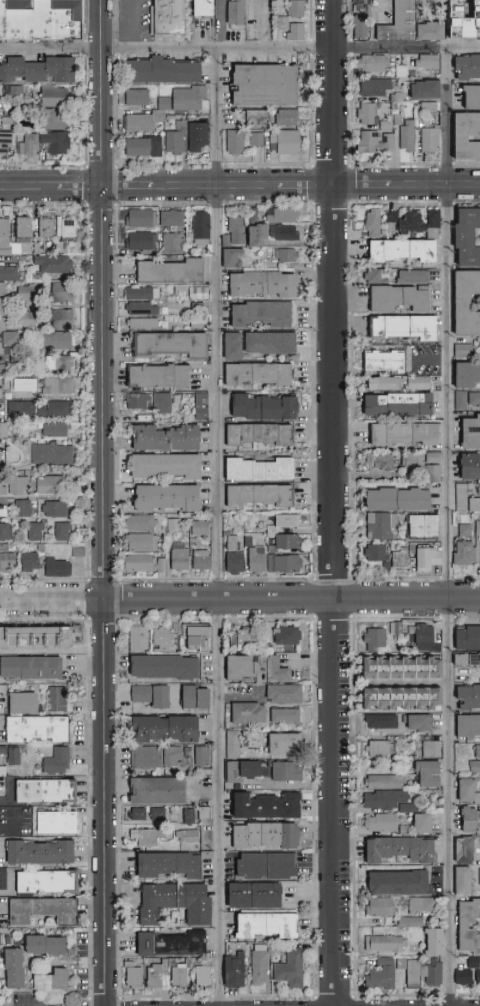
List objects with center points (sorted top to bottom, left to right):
building: (293, 8)
building: (362, 8)
building: (205, 9)
building: (238, 15)
building: (173, 18)
building: (44, 20)
building: (435, 21)
building: (400, 23)
building: (287, 28)
building: (362, 28)
building: (478, 29)
road: (133, 30)
road: (239, 50)
building: (423, 60)
building: (367, 62)
building: (464, 66)
building: (37, 68)
building: (157, 70)
building: (258, 85)
building: (372, 85)
building: (421, 88)
building: (10, 91)
building: (50, 95)
building: (133, 96)
building: (185, 96)
building: (468, 97)
building: (160, 107)
building: (427, 110)
building: (364, 112)
building: (251, 117)
building: (283, 117)
building: (49, 118)
building: (136, 121)
building: (405, 134)
building: (195, 135)
building: (466, 136)
building: (254, 138)
building: (427, 138)
building: (3, 139)
building: (175, 140)
building: (155, 141)
building: (231, 141)
building: (282, 141)
building: (372, 141)
building: (135, 146)
building: (56, 147)
road: (239, 186)
building: (278, 214)
building: (139, 217)
building: (169, 217)
building: (431, 217)
building: (404, 220)
building: (370, 222)
building: (44, 226)
building: (63, 226)
building: (199, 227)
building: (18, 229)
building: (3, 231)
building: (231, 231)
building: (279, 232)
building: (462, 237)
building: (138, 240)
building: (261, 241)
building: (169, 242)
building: (399, 249)
building: (282, 254)
building: (228, 257)
building: (51, 263)
building: (167, 270)
building: (7, 272)
building: (410, 275)
building: (371, 276)
building: (257, 283)
building: (58, 290)
building: (139, 292)
building: (393, 298)
road: (104, 300)
building: (461, 303)
building: (138, 308)
building: (25, 317)
building: (60, 318)
building: (140, 323)
building: (390, 326)
building: (417, 327)
building: (55, 341)
building: (9, 342)
building: (254, 343)
building: (166, 344)
building: (460, 350)
building: (378, 360)
building: (57, 361)
building: (254, 373)
building: (463, 374)
building: (154, 376)
building: (415, 382)
building: (19, 383)
building: (375, 383)
building: (56, 384)
building: (464, 399)
building: (134, 400)
building: (160, 402)
building: (392, 404)
building: (199, 406)
building: (258, 406)
building: (20, 407)
building: (54, 407)
building: (2, 429)
building: (52, 429)
building: (467, 431)
building: (253, 433)
building: (399, 433)
building: (160, 437)
building: (50, 453)
building: (10, 455)
building: (380, 461)
building: (420, 464)
building: (161, 465)
building: (466, 467)
building: (255, 469)
building: (15, 484)
building: (49, 484)
building: (1, 489)
building: (253, 494)
building: (161, 497)
building: (464, 498)
building: (392, 499)
road: (336, 502)
building: (20, 507)
building: (53, 508)
building: (281, 520)
building: (137, 522)
building: (379, 525)
building: (418, 525)
building: (476, 526)
building: (197, 527)
road: (217, 528)
road: (444, 528)
building: (462, 529)
building: (33, 530)
building: (61, 530)
building: (2, 531)
building: (284, 540)
building: (140, 542)
building: (373, 552)
building: (461, 552)
building: (176, 555)
building: (478, 555)
building: (397, 558)
building: (424, 558)
building: (198, 559)
building: (254, 559)
building: (6, 561)
building: (28, 561)
building: (231, 562)
building: (281, 562)
building: (142, 563)
building: (56, 567)
road: (292, 599)
road: (52, 601)
building: (35, 633)
building: (284, 633)
building: (194, 635)
building: (241, 635)
building: (465, 636)
building: (371, 637)
building: (422, 637)
building: (137, 638)
building: (161, 639)
building: (470, 657)
building: (239, 664)
building: (28, 665)
building: (159, 665)
building: (394, 665)
building: (271, 667)
building: (281, 692)
building: (148, 693)
building: (191, 695)
building: (394, 695)
building: (466, 695)
building: (57, 699)
building: (20, 701)
building: (244, 711)
building: (282, 714)
building: (379, 719)
building: (413, 720)
building: (465, 723)
building: (159, 726)
building: (14, 727)
building: (49, 727)
building: (278, 741)
building: (230, 742)
building: (377, 746)
building: (428, 747)
building: (476, 750)
building: (11, 754)
building: (199, 754)
building: (144, 755)
building: (170, 755)
building: (55, 760)
building: (473, 765)
building: (237, 768)
building: (283, 769)
building: (424, 772)
building: (380, 781)
building: (1, 784)
building: (152, 788)
building: (461, 788)
building: (41, 789)
building: (476, 797)
building: (381, 798)
road: (104, 803)
building: (261, 803)
building: (137, 812)
building: (170, 814)
building: (414, 817)
building: (475, 817)
building: (463, 818)
building: (53, 821)
building: (377, 821)
building: (144, 835)
building: (478, 840)
building: (394, 847)
building: (459, 848)
building: (36, 850)
road: (477, 858)
building: (163, 863)
building: (260, 863)
building: (478, 875)
building: (2, 877)
building: (42, 879)
building: (457, 879)
building: (393, 880)
building: (248, 893)
building: (171, 900)
building: (420, 903)
building: (377, 905)
building: (38, 908)
building: (407, 920)
building: (259, 923)
building: (465, 924)
building: (168, 942)
building: (384, 942)
building: (40, 943)
building: (258, 966)
building: (10, 967)
building: (287, 968)
building: (473, 968)
building: (231, 970)
building: (420, 971)
building: (130, 973)
building: (156, 973)
building: (379, 973)
building: (177, 974)
building: (201, 974)
building: (460, 975)
building: (47, 978)

